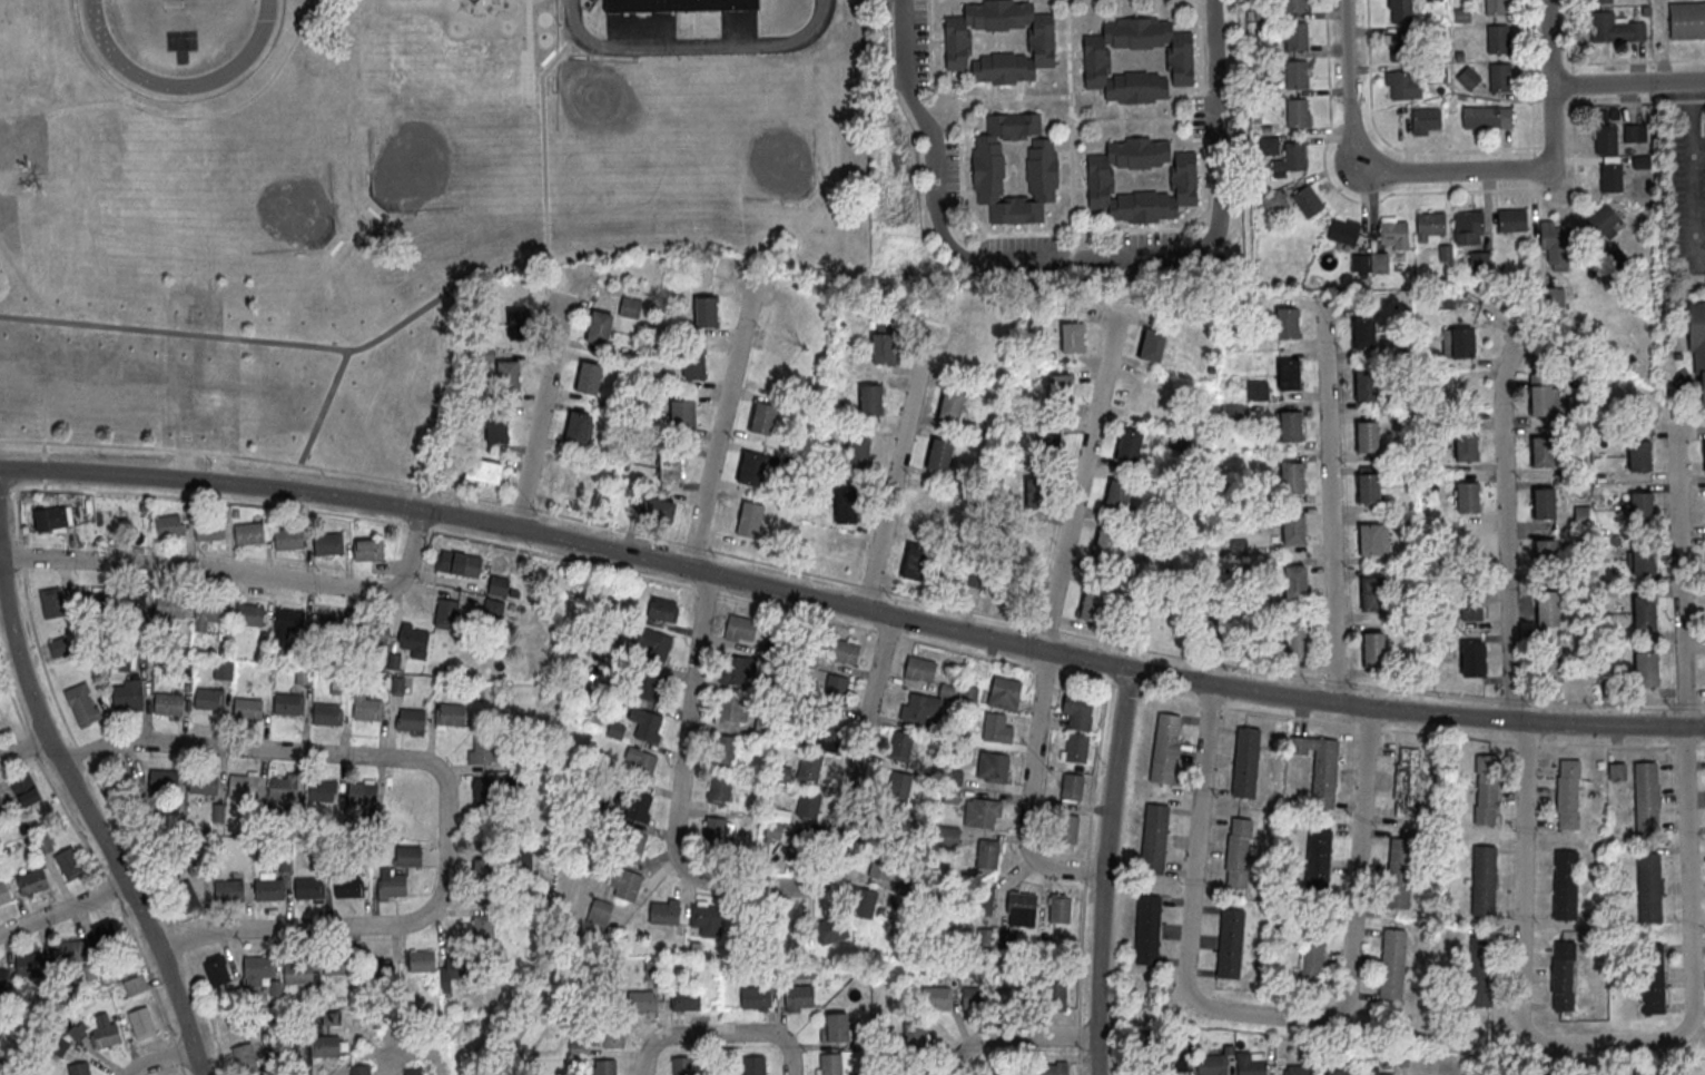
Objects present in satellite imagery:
building: (1433, 0)
building: (1601, 1)
park: (167, 3)
building: (676, 4)
building: (1297, 4)
building: (1496, 7)
building: (1400, 10)
building: (1263, 12)
building: (1462, 17)
building: (1685, 20)
road: (1346, 21)
building: (1615, 29)
building: (1435, 31)
building: (1294, 34)
road: (1571, 36)
track: (180, 37)
building: (1499, 40)
building: (957, 41)
road: (693, 45)
building: (1401, 47)
building: (1095, 60)
road: (1638, 62)
building: (1297, 73)
building: (1437, 75)
building: (1500, 78)
building: (1469, 79)
building: (1267, 83)
road: (1628, 83)
building: (1403, 86)
building: (1298, 112)
building: (1488, 118)
building: (1426, 119)
building: (1634, 132)
building: (1606, 140)
building: (1268, 146)
road: (1458, 150)
building: (1291, 159)
building: (1640, 161)
building: (988, 167)
road: (1475, 170)
road: (1694, 175)
building: (1612, 177)
building: (1182, 178)
road: (1421, 193)
building: (1273, 201)
building: (1307, 201)
building: (1604, 218)
building: (1512, 220)
building: (1470, 223)
building: (1431, 224)
building: (1343, 233)
building: (1393, 233)
building: (1555, 243)
building: (1445, 253)
road: (1072, 256)
building: (1479, 260)
building: (1443, 299)
building: (630, 306)
building: (706, 313)
building: (518, 323)
building: (1288, 324)
building: (599, 327)
building: (1364, 335)
building: (1072, 337)
building: (56, 339)
building: (1458, 342)
building: (1152, 344)
building: (884, 347)
building: (1698, 351)
building: (960, 354)
building: (694, 364)
building: (506, 375)
building: (1289, 376)
building: (589, 378)
building: (1367, 386)
building: (1061, 388)
building: (1256, 389)
building: (1139, 394)
building: (870, 398)
building: (1541, 401)
building: (949, 404)
building: (1573, 404)
building: (1235, 410)
road: (540, 412)
building: (683, 416)
building: (763, 420)
road: (720, 426)
building: (496, 427)
building: (1290, 427)
building: (578, 428)
building: (1368, 437)
building: (1048, 438)
building: (1179, 438)
building: (1127, 445)
building: (1467, 447)
building: (858, 450)
building: (1544, 453)
building: (938, 454)
building: (1704, 455)
building: (1640, 456)
road: (896, 465)
building: (670, 467)
building: (752, 469)
building: (484, 470)
building: (1292, 480)
road: (1078, 481)
building: (1369, 490)
building: (1032, 492)
building: (1116, 495)
road: (1330, 496)
building: (1468, 499)
building: (846, 504)
building: (1545, 504)
building: (927, 505)
building: (656, 507)
building: (1643, 509)
building: (52, 519)
building: (88, 519)
building: (130, 520)
building: (750, 520)
building: (168, 524)
road: (1504, 530)
building: (209, 531)
building: (1294, 531)
building: (248, 532)
building: (288, 537)
building: (1371, 541)
building: (1022, 542)
building: (328, 543)
building: (1105, 545)
building: (367, 549)
building: (1547, 556)
building: (915, 560)
building: (1645, 560)
building: (457, 562)
road: (238, 574)
building: (983, 578)
road: (1678, 579)
road: (850, 581)
building: (1295, 584)
building: (497, 585)
building: (1372, 594)
building: (129, 600)
building: (52, 602)
building: (1092, 603)
building: (1472, 604)
building: (492, 605)
building: (170, 606)
road: (850, 606)
building: (662, 608)
building: (1548, 608)
building: (446, 612)
building: (1645, 612)
building: (249, 613)
building: (207, 614)
building: (328, 622)
building: (285, 623)
road: (851, 623)
building: (740, 628)
building: (1208, 629)
building: (374, 631)
building: (414, 639)
building: (1297, 640)
building: (652, 644)
building: (58, 645)
building: (844, 650)
building: (1374, 651)
building: (1472, 660)
building: (121, 663)
building: (1550, 665)
building: (919, 668)
building: (1647, 668)
building: (223, 669)
building: (735, 670)
building: (651, 686)
building: (837, 689)
building: (1005, 692)
building: (127, 693)
building: (969, 696)
building: (209, 700)
building: (81, 703)
building: (288, 704)
building: (169, 706)
building: (920, 707)
building: (248, 710)
building: (369, 710)
building: (730, 710)
building: (328, 714)
building: (449, 716)
building: (1081, 716)
building: (2, 719)
building: (411, 720)
building: (645, 724)
building: (995, 728)
building: (615, 729)
building: (827, 731)
building: (900, 744)
road: (23, 747)
building: (1076, 748)
building: (1164, 749)
building: (482, 750)
building: (726, 751)
building: (809, 763)
building: (1245, 763)
building: (641, 765)
building: (998, 769)
building: (1617, 770)
building: (782, 773)
building: (1324, 775)
building: (955, 778)
building: (162, 781)
building: (204, 783)
building: (899, 783)
building: (1407, 785)
building: (244, 787)
building: (283, 788)
road: (444, 788)
building: (1073, 788)
building: (24, 789)
building: (721, 790)
building: (1486, 790)
building: (323, 791)
building: (483, 791)
road: (1028, 792)
building: (363, 795)
building: (1568, 795)
building: (952, 796)
building: (1647, 798)
building: (808, 803)
building: (1, 805)
building: (635, 806)
building: (779, 813)
building: (982, 813)
road: (92, 822)
building: (773, 829)
building: (1067, 830)
building: (714, 832)
building: (949, 838)
building: (45, 841)
building: (1154, 841)
building: (799, 846)
building: (633, 847)
building: (1239, 854)
building: (407, 855)
building: (988, 855)
building: (68, 862)
building: (482, 865)
building: (880, 866)
building: (1317, 866)
road: (1104, 870)
building: (1400, 874)
building: (391, 881)
building: (1484, 881)
building: (32, 882)
road: (737, 882)
building: (624, 884)
building: (308, 886)
building: (348, 886)
building: (1566, 886)
building: (268, 887)
building: (228, 888)
building: (1650, 888)
building: (482, 891)
building: (4, 894)
building: (186, 895)
building: (986, 896)
building: (863, 903)
road: (62, 907)
building: (1060, 907)
building: (1021, 908)
building: (663, 910)
building: (599, 911)
building: (706, 916)
building: (482, 926)
building: (104, 929)
building: (827, 930)
building: (1149, 930)
building: (1231, 945)
building: (69, 949)
building: (1312, 955)
building: (420, 958)
building: (29, 964)
building: (337, 964)
building: (1393, 964)
building: (216, 969)
building: (651, 969)
building: (258, 970)
building: (297, 972)
building: (1480, 973)
building: (1563, 976)
building: (2, 977)
building: (1653, 980)
building: (135, 984)
building: (1057, 995)
building: (937, 996)
building: (970, 996)
building: (755, 998)
building: (798, 998)
building: (688, 1000)
building: (641, 1003)
road: (1259, 1014)
building: (329, 1016)
building: (140, 1022)
building: (837, 1029)
building: (105, 1030)
road: (721, 1033)
building: (613, 1034)
road: (1013, 1037)
building: (327, 1044)
road: (1599, 1044)
building: (578, 1046)
building: (244, 1055)
building: (1179, 1059)
road: (158, 1062)
building: (755, 1065)
building: (830, 1065)
building: (1212, 1065)
building: (682, 1066)
building: (1052, 1067)
building: (1253, 1067)
building: (78, 1068)
building: (607, 1068)
building: (359, 1069)
building: (414, 1071)
building: (1298, 1071)
building: (1377, 1071)
building: (915, 1072)
building: (992, 1073)
building: (1339, 1073)

